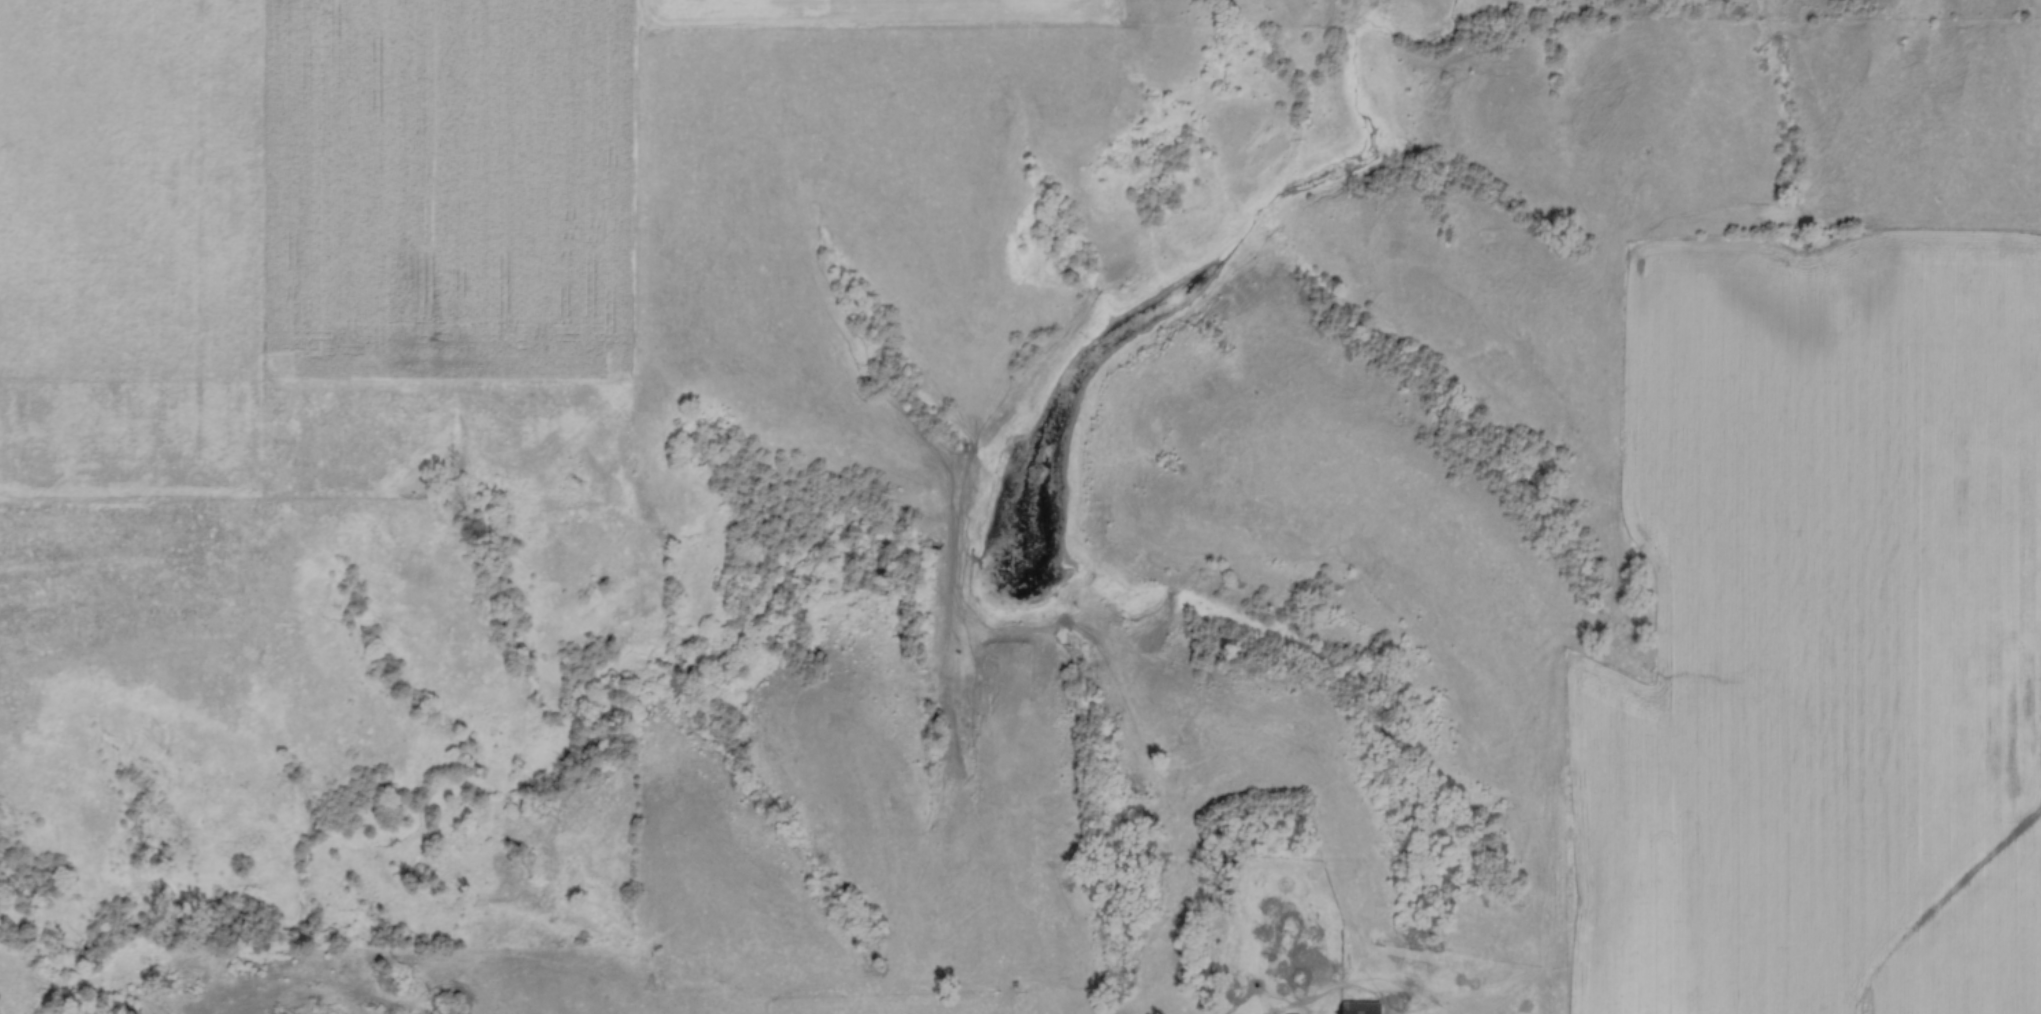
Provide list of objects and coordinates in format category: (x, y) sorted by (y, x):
building: (1359, 1008)

